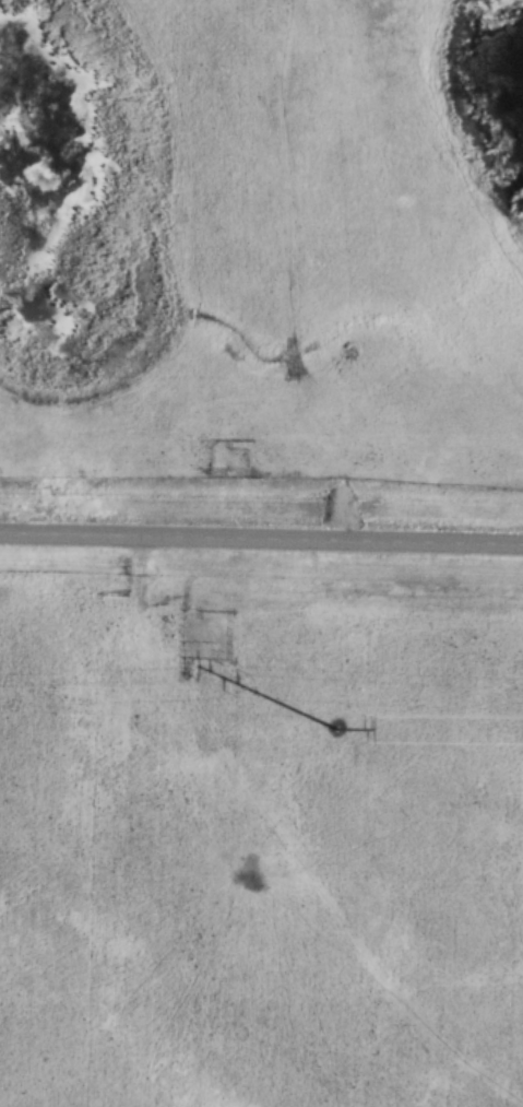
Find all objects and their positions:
road: (261, 538)
power tower: (334, 726)

